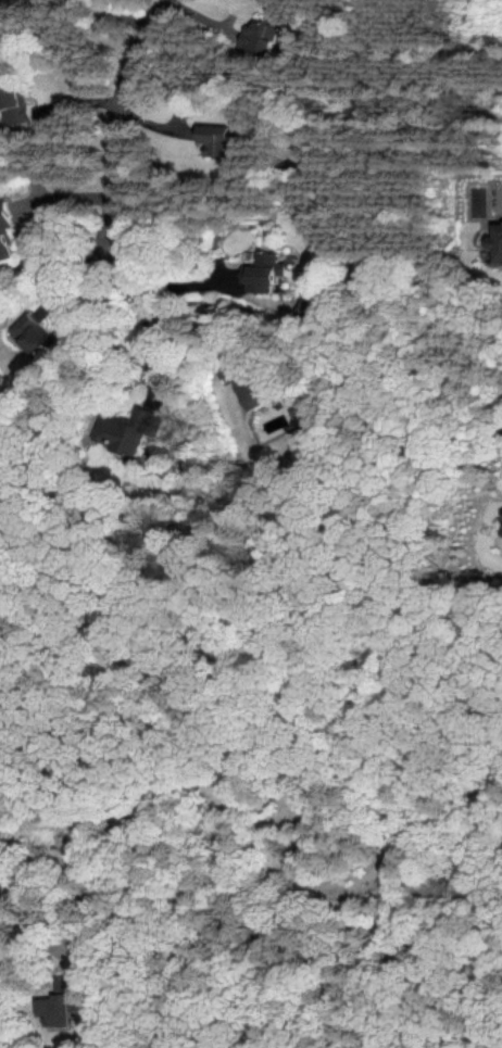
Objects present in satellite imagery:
road: (123, 12)
building: (256, 38)
building: (14, 105)
road: (115, 115)
building: (215, 140)
building: (5, 235)
building: (494, 242)
building: (260, 273)
road: (177, 302)
road: (141, 315)
building: (33, 333)
building: (248, 392)
building: (127, 430)
building: (500, 528)
building: (60, 1002)

